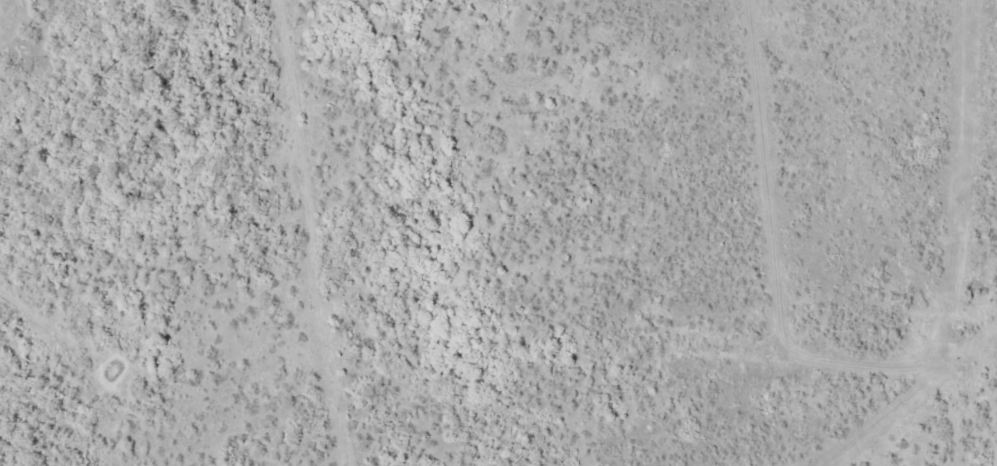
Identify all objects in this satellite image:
road: (771, 192)

